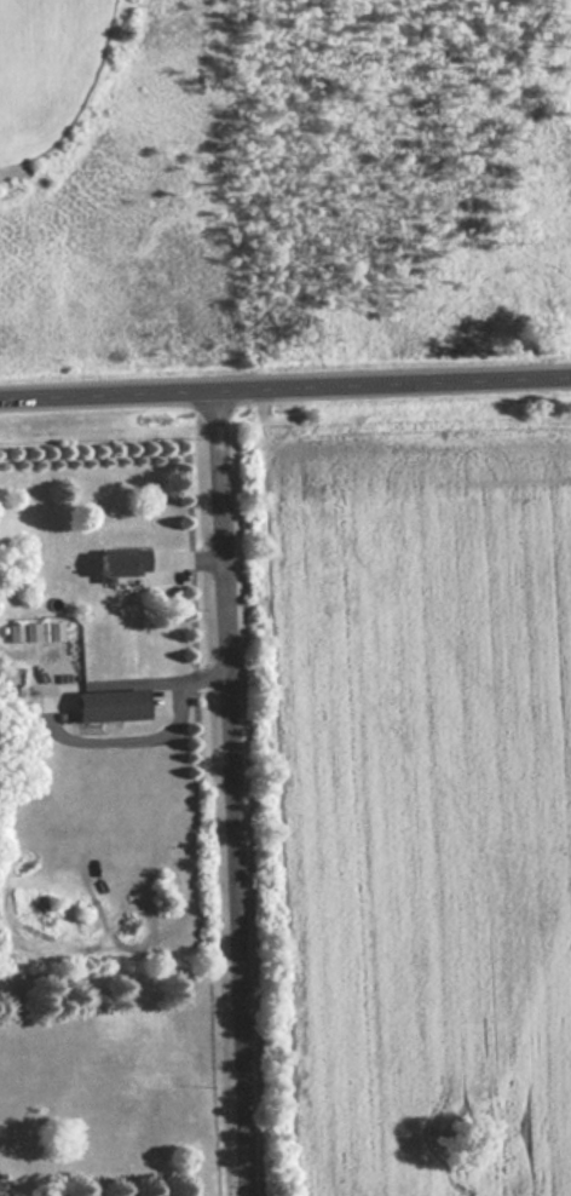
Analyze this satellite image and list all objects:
road: (285, 387)
building: (121, 560)
building: (34, 631)
building: (110, 703)
road: (236, 793)
road: (7, 1195)

